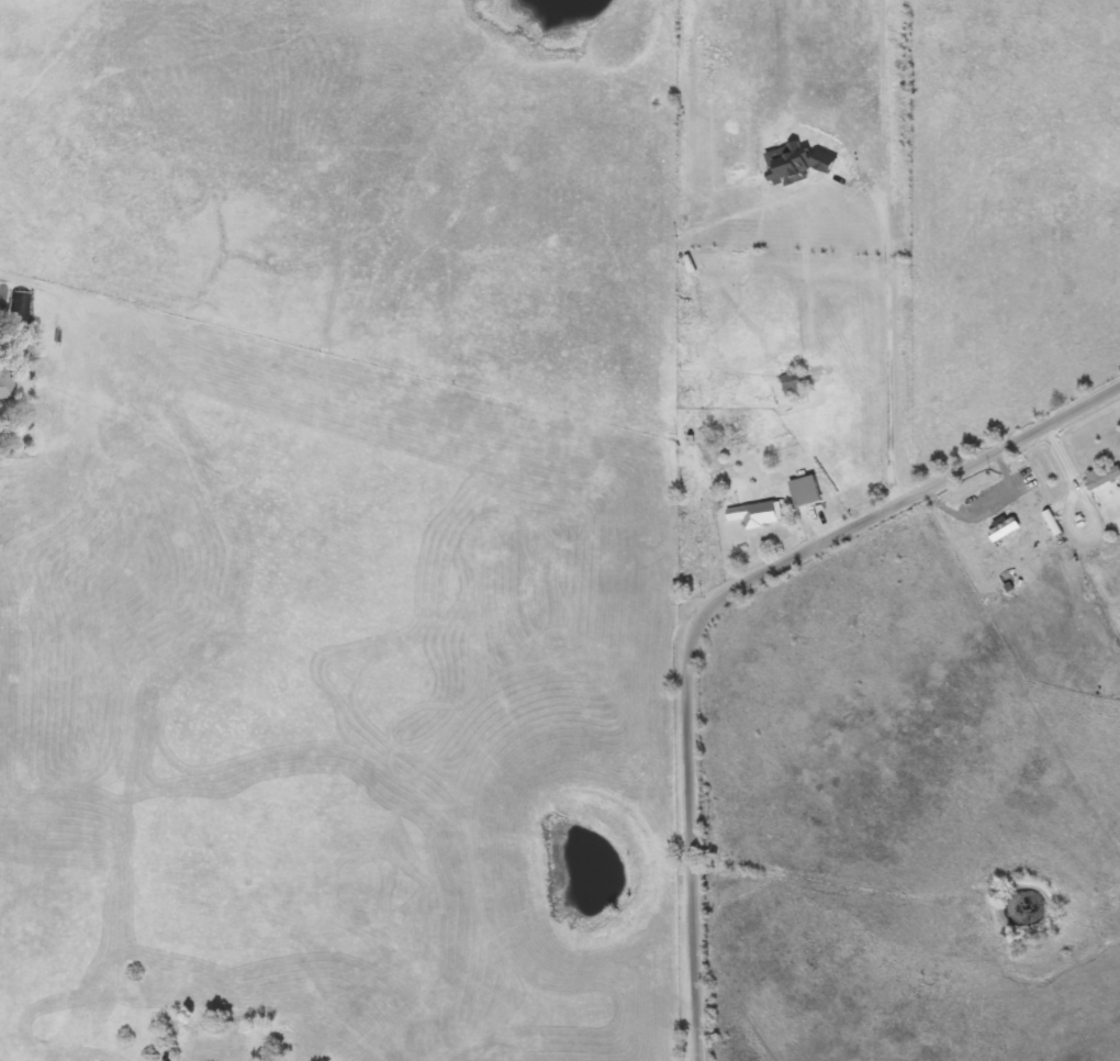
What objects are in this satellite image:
road: (889, 333)
building: (4, 383)
building: (793, 383)
building: (805, 491)
building: (757, 514)
road: (719, 610)

